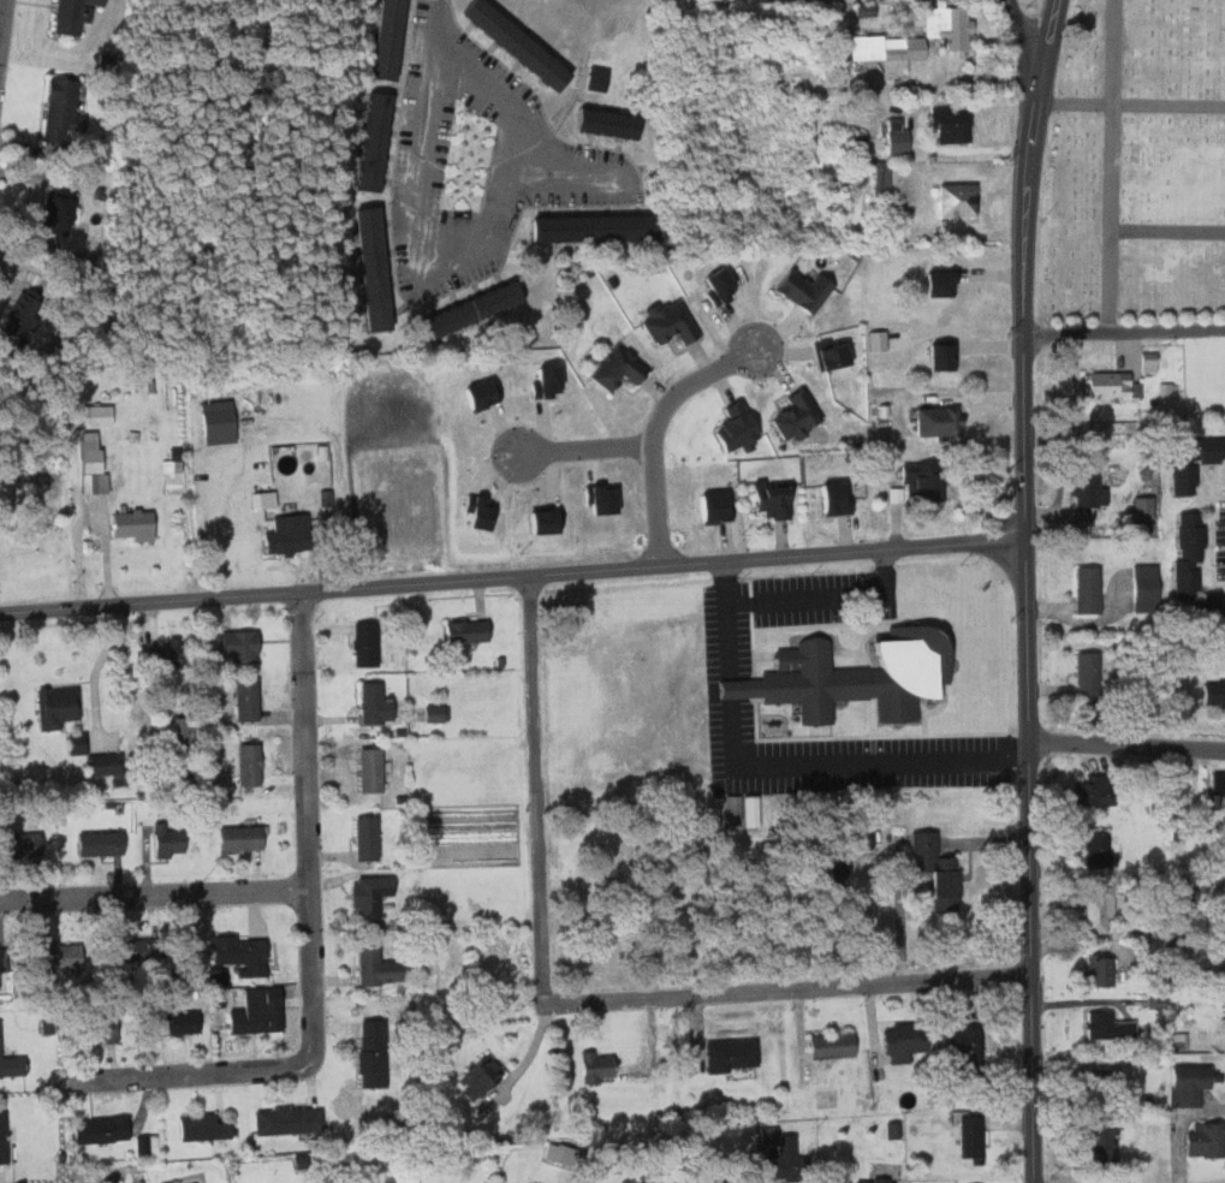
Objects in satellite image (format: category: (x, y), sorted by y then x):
building: (73, 13)
road: (1, 18)
building: (955, 25)
road: (432, 26)
building: (387, 36)
road: (1024, 41)
building: (518, 42)
building: (888, 52)
building: (597, 78)
road: (1129, 103)
building: (61, 109)
building: (608, 121)
building: (953, 124)
building: (898, 136)
building: (375, 137)
road: (1114, 166)
park: (1137, 170)
road: (564, 174)
building: (884, 178)
building: (959, 198)
building: (61, 209)
building: (596, 227)
road: (1168, 231)
road: (462, 263)
building: (374, 268)
building: (713, 284)
building: (933, 284)
building: (796, 290)
building: (477, 307)
building: (22, 313)
building: (665, 323)
road: (1126, 332)
building: (873, 340)
building: (828, 355)
building: (935, 357)
building: (1150, 362)
building: (613, 368)
building: (540, 380)
building: (1106, 385)
building: (1162, 388)
building: (477, 393)
building: (102, 414)
building: (791, 415)
building: (224, 421)
building: (933, 421)
building: (731, 427)
road: (654, 430)
road: (585, 450)
building: (95, 463)
building: (1196, 463)
building: (174, 466)
building: (918, 483)
building: (1087, 488)
building: (823, 498)
building: (267, 499)
building: (596, 500)
building: (766, 500)
building: (704, 507)
building: (1146, 507)
building: (475, 513)
building: (534, 522)
building: (139, 524)
road: (214, 524)
building: (293, 534)
building: (1194, 567)
road: (513, 577)
building: (1148, 587)
road: (1028, 589)
building: (1090, 589)
road: (827, 596)
road: (727, 619)
building: (460, 631)
building: (370, 644)
building: (245, 647)
building: (176, 652)
building: (1089, 673)
building: (848, 676)
road: (732, 686)
building: (1214, 694)
building: (251, 700)
building: (370, 702)
building: (60, 707)
building: (1156, 709)
building: (432, 712)
building: (139, 719)
building: (184, 730)
building: (81, 744)
road: (1128, 744)
building: (245, 762)
road: (851, 762)
building: (109, 766)
building: (365, 768)
building: (1094, 789)
building: (1217, 790)
building: (747, 809)
building: (729, 813)
building: (236, 837)
building: (362, 837)
building: (163, 839)
building: (97, 842)
building: (18, 844)
building: (1100, 849)
building: (846, 850)
building: (935, 869)
building: (1224, 869)
building: (1183, 887)
building: (365, 893)
road: (153, 899)
building: (1101, 912)
road: (308, 945)
building: (117, 947)
building: (236, 953)
building: (53, 955)
building: (32, 957)
building: (373, 964)
building: (1098, 969)
building: (214, 975)
building: (1153, 1000)
road: (576, 1004)
building: (252, 1011)
building: (170, 1022)
building: (1108, 1024)
building: (90, 1028)
building: (365, 1028)
building: (905, 1040)
building: (1176, 1040)
building: (834, 1045)
building: (968, 1046)
building: (733, 1053)
building: (10, 1065)
building: (593, 1065)
building: (367, 1066)
building: (475, 1074)
building: (1190, 1081)
building: (1107, 1083)
building: (284, 1119)
building: (200, 1128)
building: (96, 1129)
building: (890, 1129)
building: (765, 1134)
building: (974, 1136)
building: (1207, 1139)
building: (1098, 1140)
building: (1110, 1140)
building: (1, 1141)
building: (144, 1143)
building: (778, 1158)
building: (365, 1182)
building: (879, 1182)

